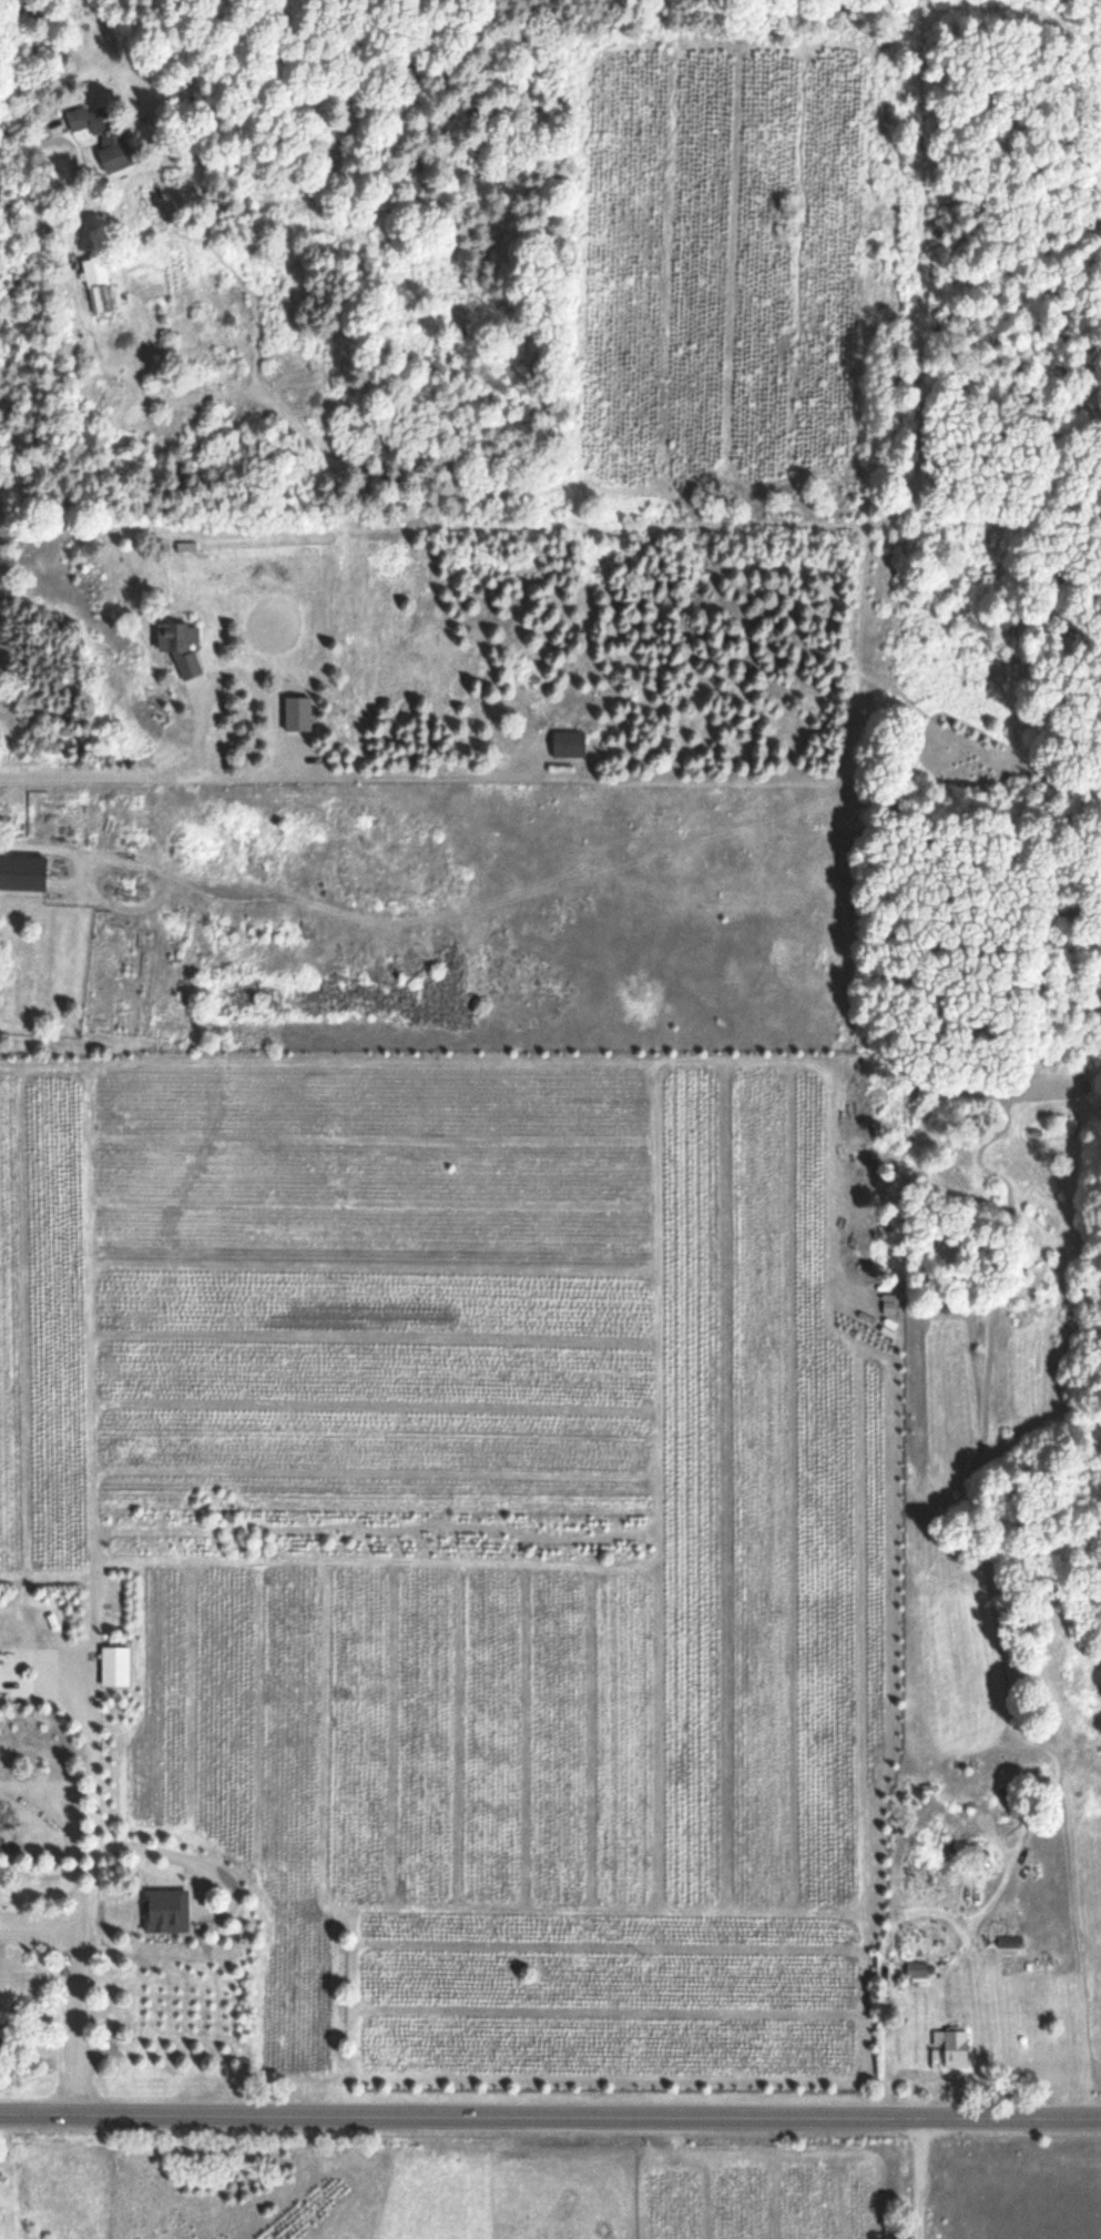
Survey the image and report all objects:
building: (101, 133)
building: (99, 285)
building: (181, 647)
building: (298, 716)
building: (569, 746)
road: (104, 837)
building: (23, 873)
building: (115, 1666)
building: (169, 1915)
building: (1009, 1942)
building: (917, 1973)
building: (954, 2047)
road: (550, 2116)

